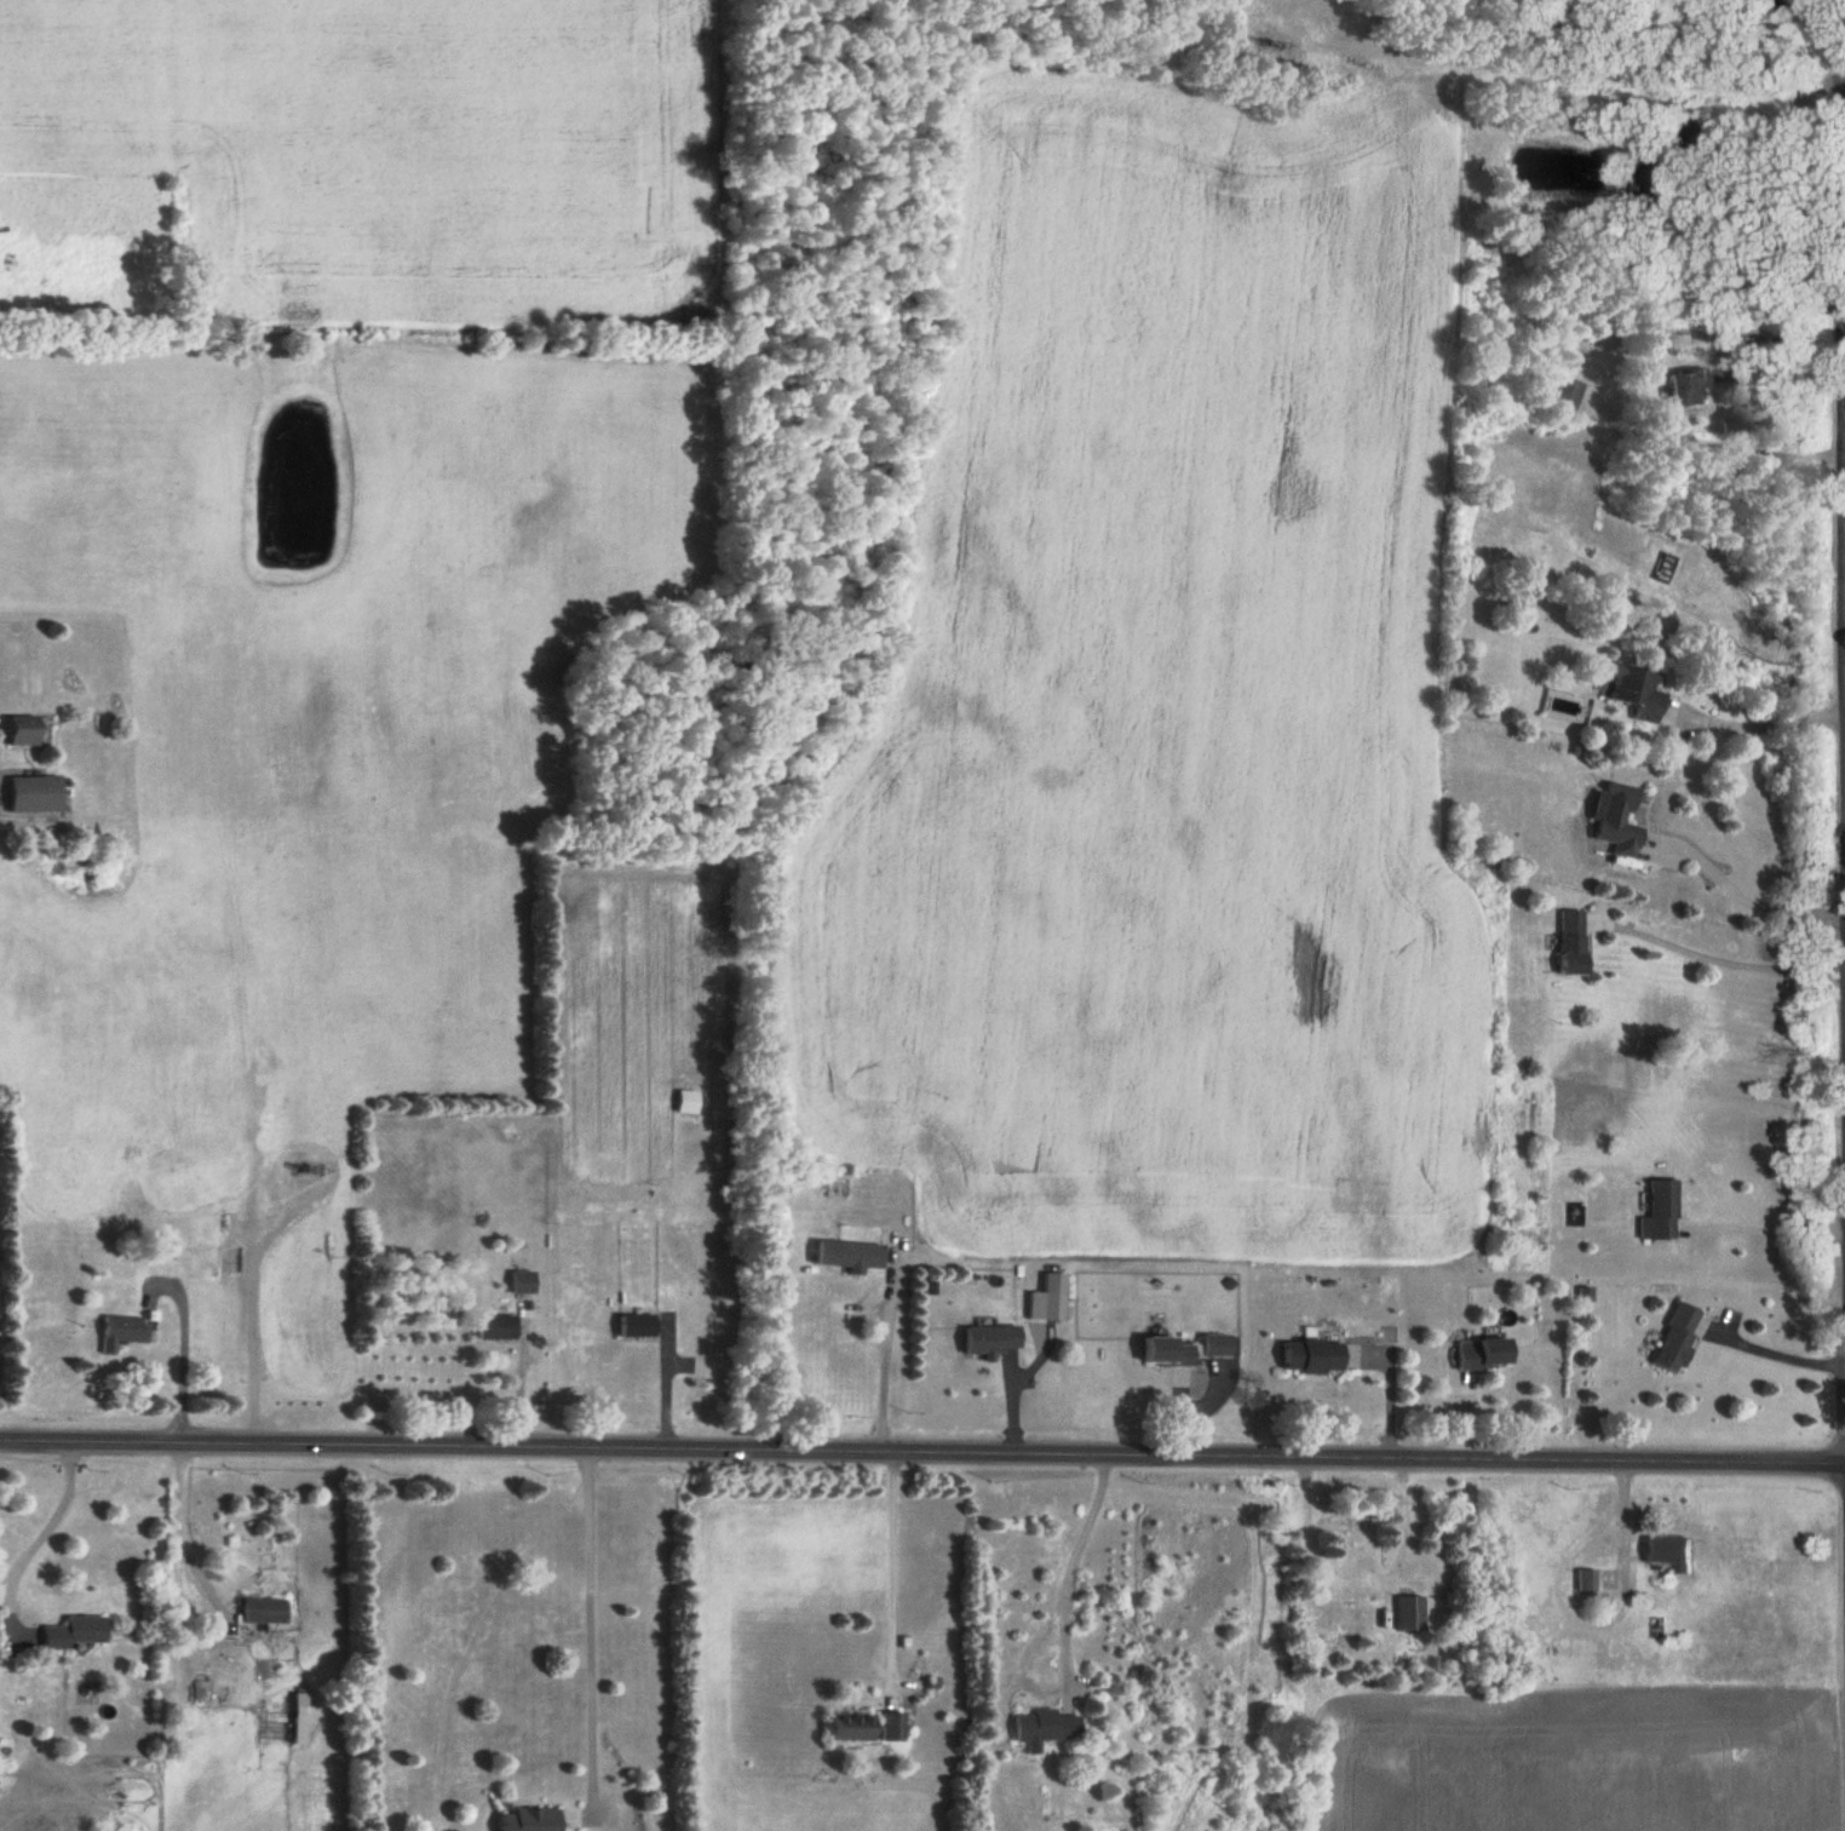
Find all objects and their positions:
building: (1696, 130)
building: (1646, 178)
road: (1782, 349)
building: (1685, 389)
building: (1564, 394)
building: (1632, 691)
road: (1765, 721)
building: (19, 731)
building: (31, 794)
building: (1614, 819)
road: (1743, 895)
building: (1571, 942)
road: (1719, 959)
building: (688, 1102)
building: (1662, 1210)
road: (1766, 1228)
building: (231, 1241)
building: (849, 1255)
building: (521, 1282)
building: (636, 1325)
building: (494, 1327)
road: (255, 1331)
building: (117, 1332)
road: (889, 1338)
building: (1677, 1338)
building: (990, 1339)
road: (184, 1342)
building: (1218, 1345)
building: (1168, 1351)
building: (1483, 1354)
building: (1312, 1355)
road: (523, 1372)
road: (668, 1374)
road: (925, 1412)
road: (921, 1431)
road: (1844, 1453)
road: (182, 1509)
building: (1343, 1523)
road: (51, 1527)
building: (1667, 1549)
road: (1069, 1561)
road: (896, 1565)
building: (1590, 1579)
building: (263, 1609)
building: (1409, 1612)
road: (591, 1622)
building: (74, 1632)
building: (301, 1699)
building: (851, 1726)
building: (893, 1726)
building: (299, 1728)
building: (1040, 1728)
building: (530, 1819)

